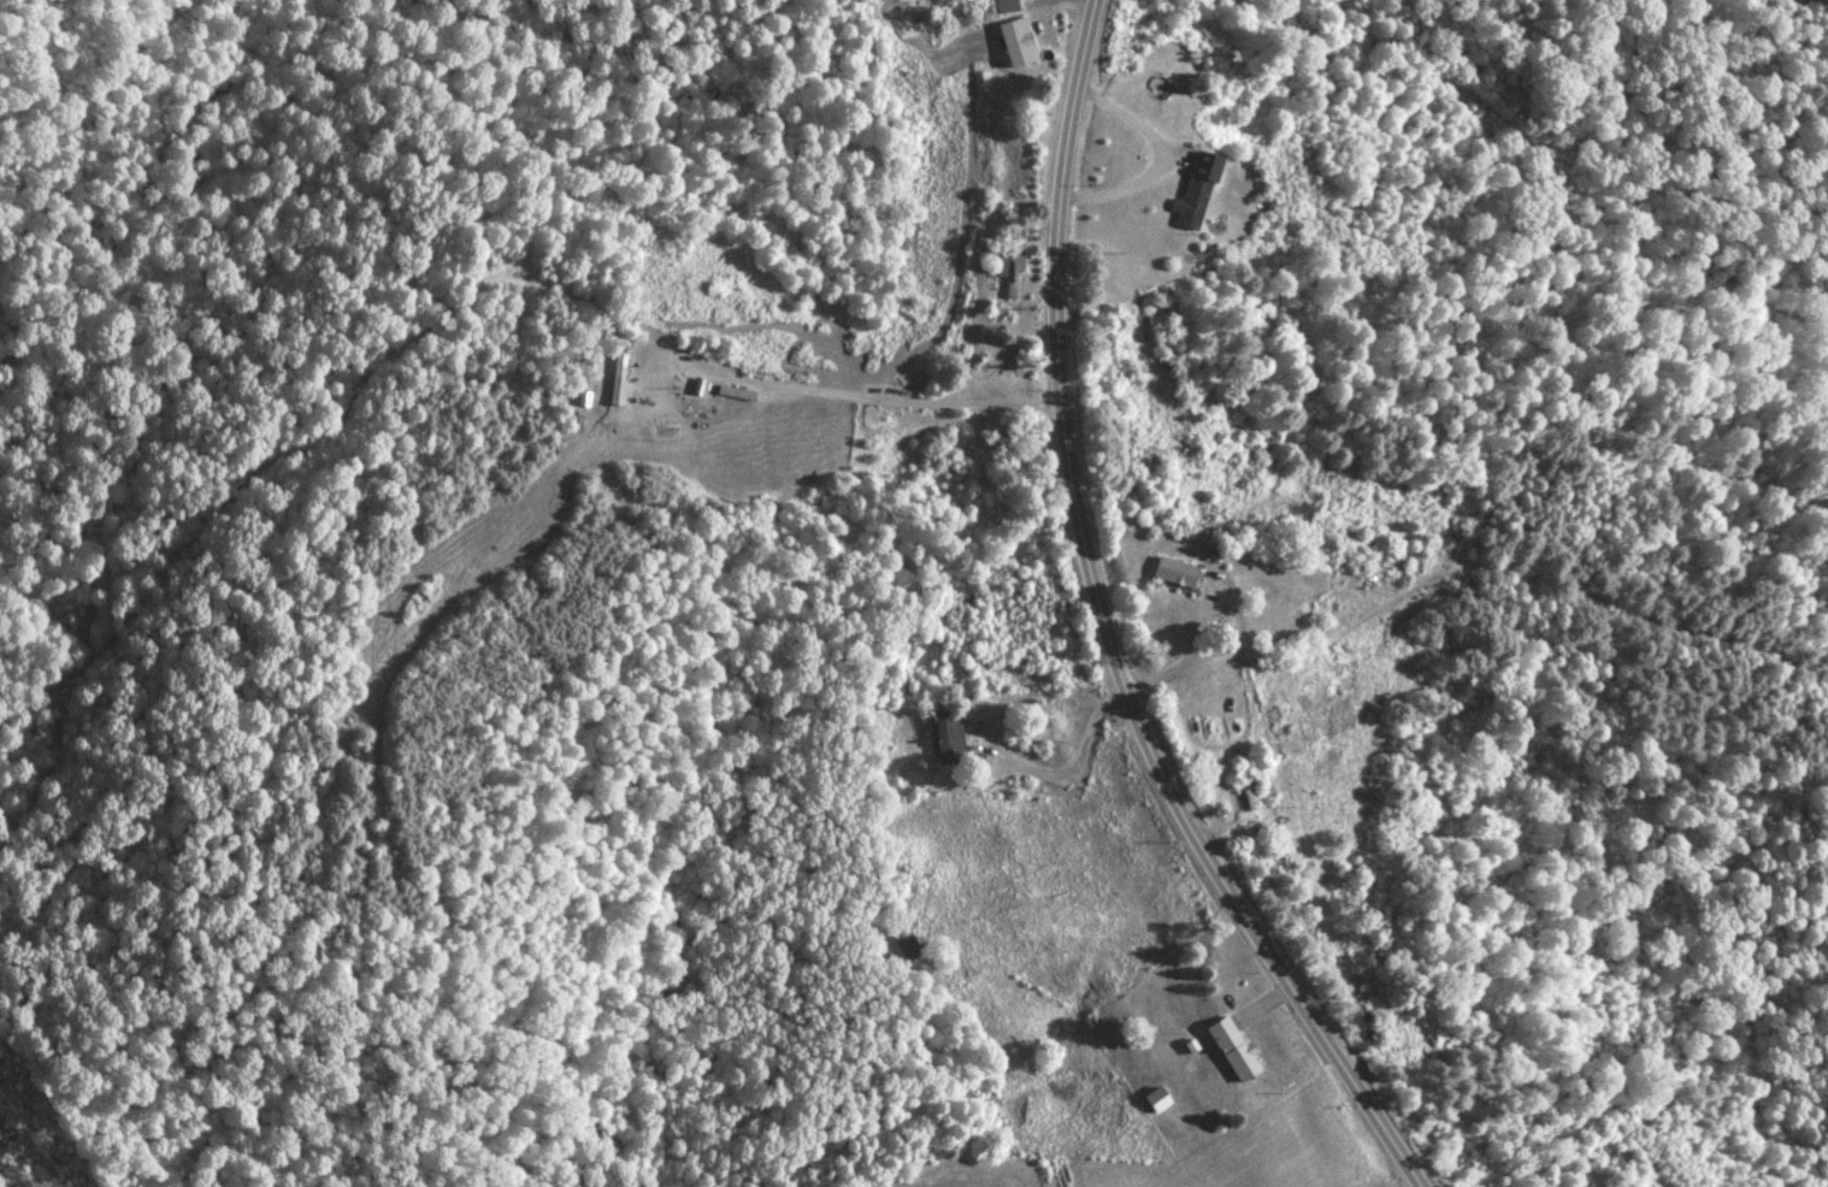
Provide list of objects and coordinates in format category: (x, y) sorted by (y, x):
building: (1019, 42)
building: (1197, 190)
building: (1009, 272)
building: (1178, 573)
road: (1104, 632)
building: (948, 736)
building: (1246, 787)
building: (904, 941)
building: (1234, 1050)
building: (1157, 1100)

